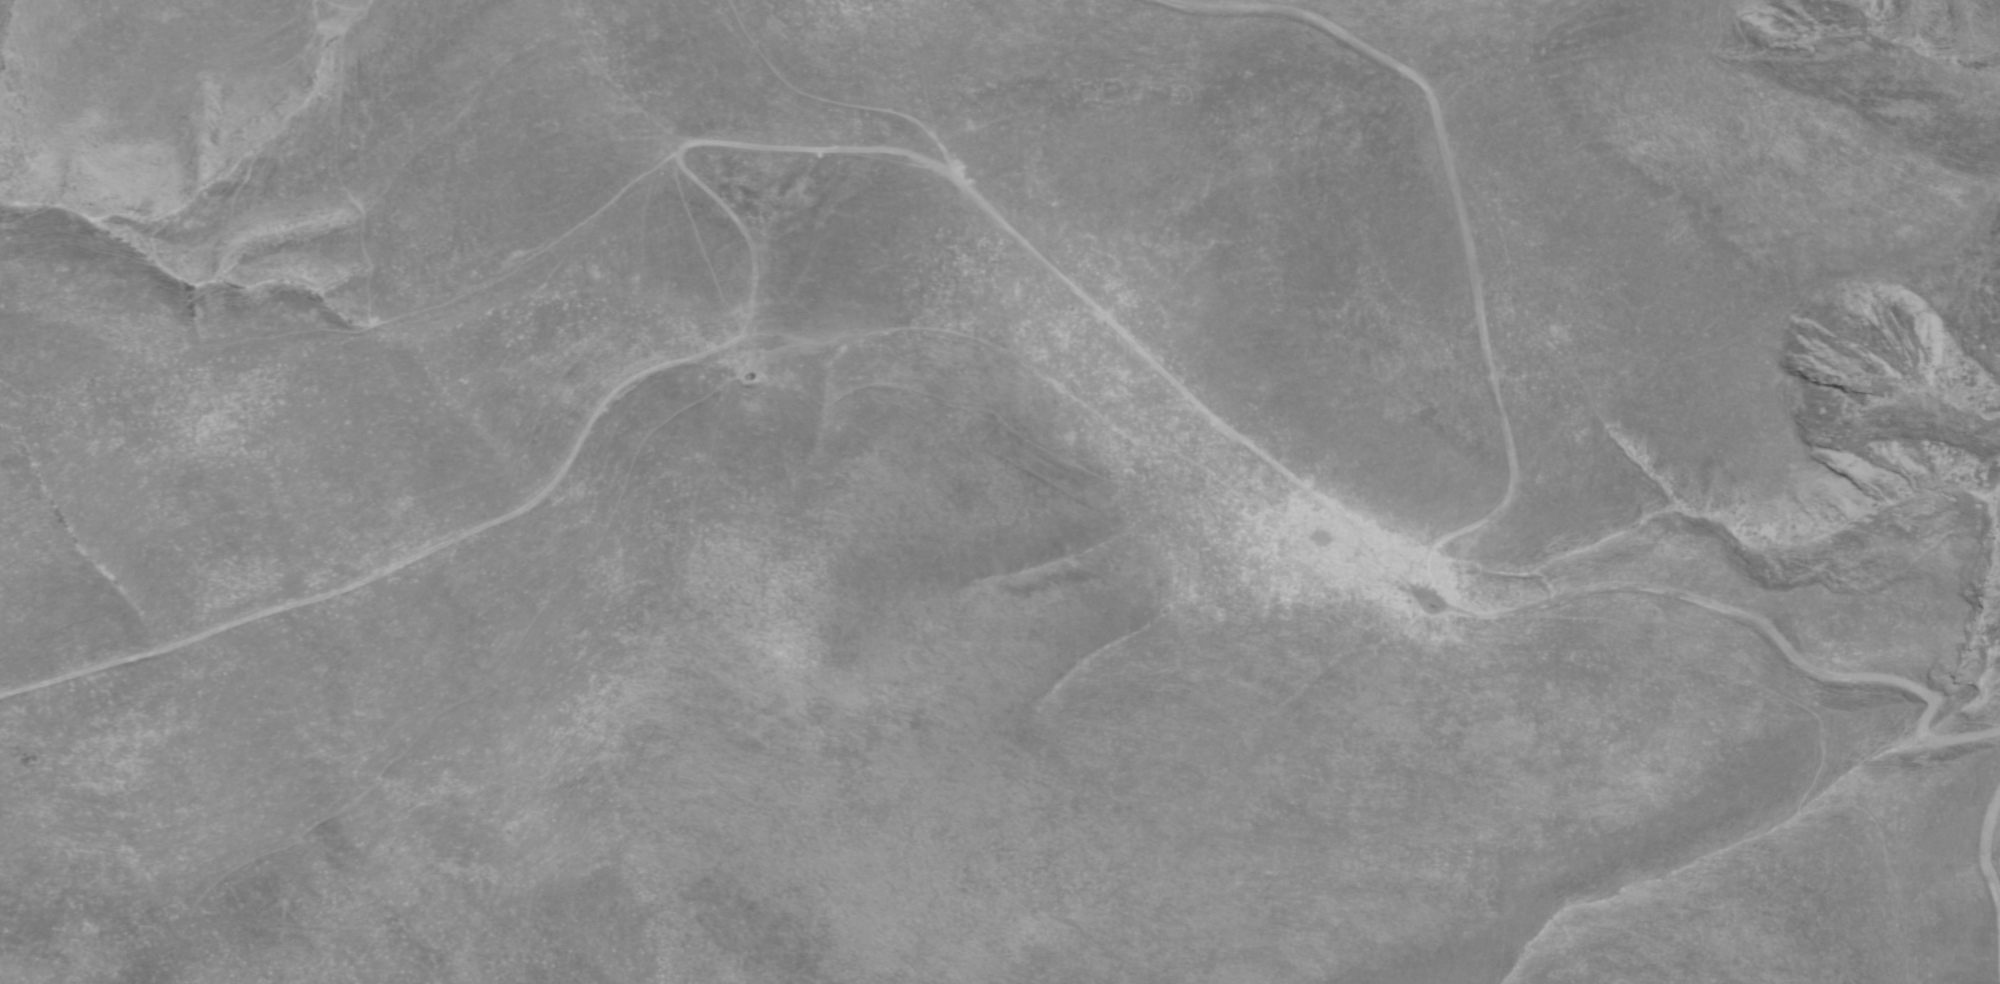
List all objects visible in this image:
road: (1618, 419)

